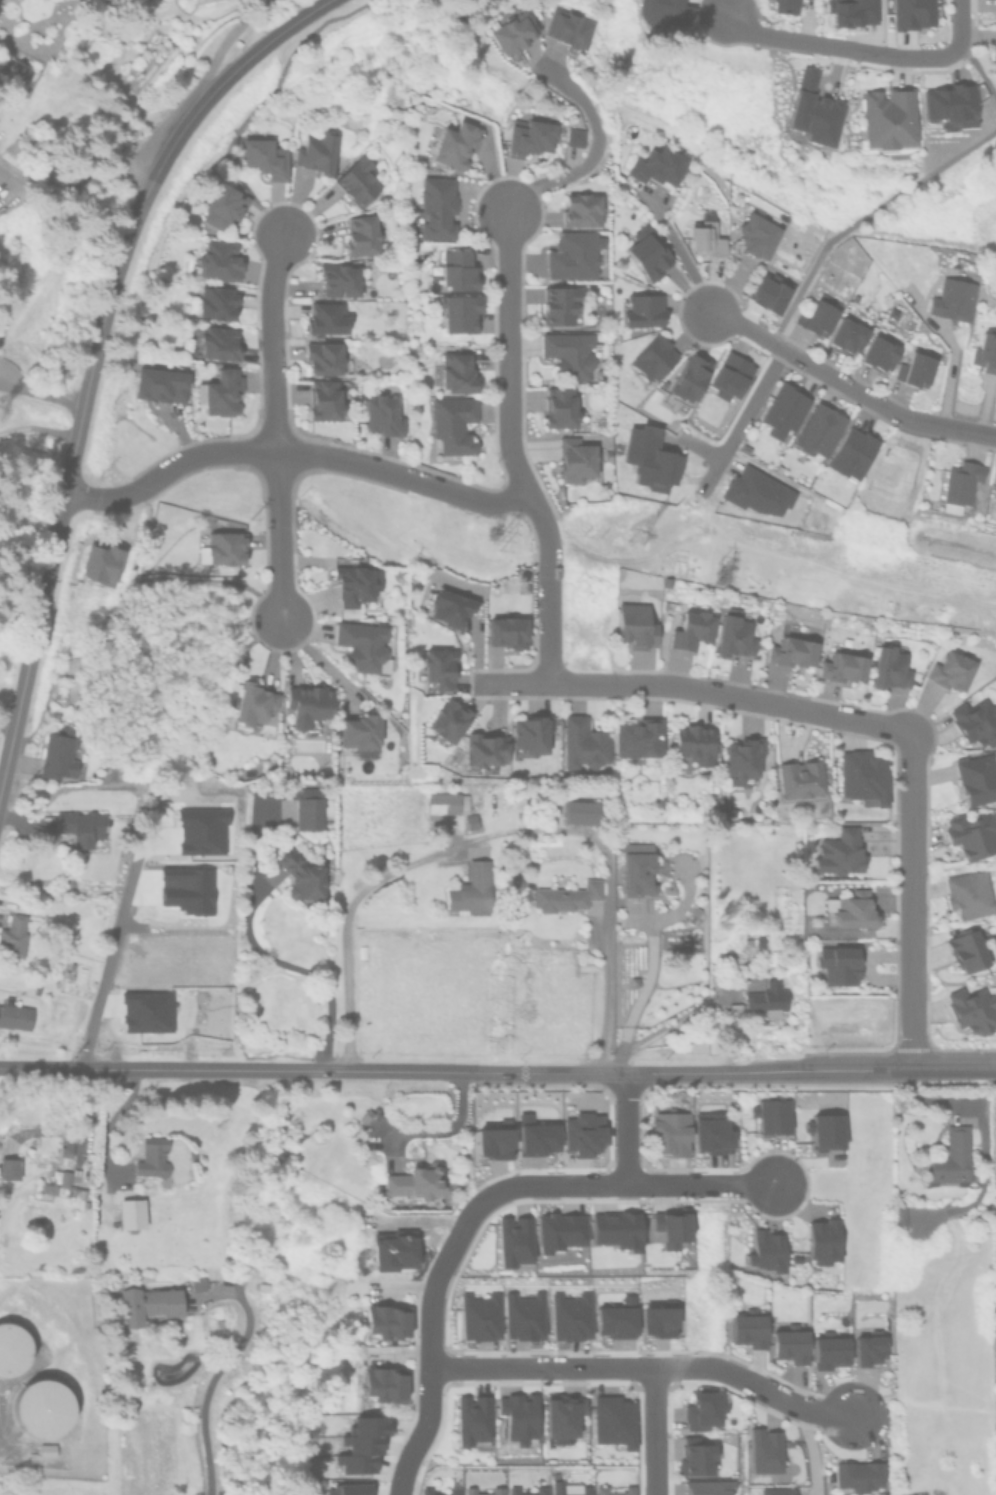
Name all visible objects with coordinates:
building: (783, 6)
road: (246, 10)
road: (253, 10)
building: (851, 12)
building: (659, 13)
building: (912, 14)
building: (567, 29)
building: (511, 33)
road: (860, 51)
road: (216, 54)
building: (993, 55)
road: (978, 72)
building: (948, 103)
building: (812, 110)
building: (887, 119)
building: (574, 137)
building: (531, 138)
building: (455, 145)
road: (594, 149)
building: (316, 153)
building: (265, 158)
building: (656, 166)
road: (78, 172)
building: (357, 181)
building: (222, 206)
building: (436, 207)
building: (581, 210)
road: (864, 214)
building: (361, 235)
building: (755, 236)
building: (704, 240)
road: (679, 250)
building: (647, 253)
building: (571, 255)
building: (219, 261)
building: (456, 271)
building: (339, 281)
building: (767, 294)
building: (951, 299)
building: (216, 303)
building: (559, 305)
building: (642, 310)
building: (459, 313)
road: (722, 316)
building: (325, 318)
building: (818, 318)
road: (754, 332)
building: (846, 336)
building: (218, 343)
road: (93, 353)
building: (568, 353)
building: (878, 354)
building: (984, 354)
building: (322, 358)
building: (651, 359)
building: (913, 370)
building: (456, 372)
road: (507, 372)
road: (956, 372)
building: (729, 376)
building: (688, 378)
building: (160, 385)
building: (222, 393)
road: (41, 395)
building: (323, 400)
road: (877, 404)
building: (559, 407)
building: (783, 410)
building: (383, 416)
road: (755, 420)
building: (452, 424)
road: (38, 426)
road: (274, 426)
building: (817, 430)
road: (291, 452)
building: (850, 453)
building: (574, 460)
building: (959, 485)
building: (755, 492)
power tower: (635, 547)
building: (222, 549)
building: (100, 565)
building: (355, 585)
road: (546, 605)
building: (449, 607)
building: (634, 626)
building: (691, 630)
building: (505, 632)
building: (734, 637)
building: (361, 644)
building: (790, 652)
road: (318, 663)
building: (842, 667)
building: (437, 669)
building: (889, 669)
building: (950, 671)
road: (695, 688)
building: (307, 704)
building: (255, 705)
building: (447, 720)
building: (975, 722)
road: (6, 725)
building: (358, 731)
building: (529, 734)
building: (638, 738)
building: (693, 744)
building: (583, 745)
building: (486, 749)
building: (57, 754)
building: (741, 759)
building: (862, 776)
building: (800, 779)
building: (976, 779)
building: (446, 803)
building: (580, 812)
building: (308, 813)
building: (80, 826)
building: (971, 835)
building: (838, 852)
building: (636, 874)
building: (299, 877)
building: (470, 889)
building: (968, 895)
building: (566, 897)
road: (910, 901)
road: (346, 919)
building: (13, 935)
building: (966, 951)
road: (110, 958)
building: (838, 965)
road: (297, 966)
road: (605, 975)
building: (752, 981)
road: (644, 988)
building: (766, 999)
building: (971, 1010)
building: (15, 1016)
road: (657, 1032)
road: (237, 1069)
road: (949, 1070)
road: (992, 1071)
road: (692, 1073)
building: (367, 1113)
building: (769, 1116)
road: (625, 1128)
building: (666, 1130)
building: (824, 1130)
building: (581, 1133)
building: (711, 1135)
building: (534, 1136)
building: (492, 1142)
building: (65, 1150)
building: (154, 1157)
building: (948, 1158)
building: (10, 1166)
building: (419, 1180)
building: (63, 1182)
road: (619, 1183)
building: (132, 1212)
building: (896, 1213)
building: (669, 1225)
building: (614, 1229)
building: (557, 1230)
building: (512, 1240)
building: (821, 1241)
building: (764, 1250)
building: (199, 1281)
building: (264, 1286)
building: (627, 1299)
building: (148, 1301)
building: (479, 1316)
building: (523, 1316)
building: (569, 1316)
building: (376, 1319)
building: (398, 1319)
building: (613, 1321)
building: (656, 1321)
building: (747, 1326)
building: (789, 1342)
building: (13, 1348)
road: (427, 1348)
building: (867, 1349)
building: (828, 1352)
road: (644, 1367)
road: (214, 1376)
building: (375, 1380)
building: (395, 1382)
building: (40, 1406)
building: (702, 1410)
building: (561, 1413)
building: (517, 1416)
building: (471, 1418)
building: (611, 1421)
road: (653, 1431)
road: (884, 1441)
building: (361, 1444)
building: (45, 1448)
building: (762, 1450)
road: (810, 1452)
building: (697, 1455)
building: (856, 1475)
building: (705, 1487)
building: (599, 1488)
building: (347, 1489)
building: (496, 1489)
building: (539, 1489)
building: (570, 1489)
building: (451, 1490)
building: (776, 1491)

